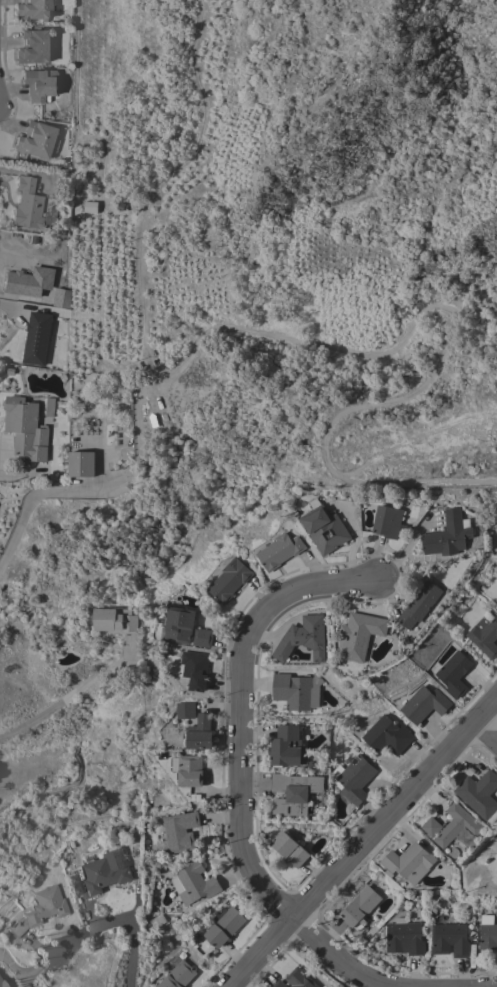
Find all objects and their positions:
building: (32, 9)
building: (34, 46)
building: (40, 84)
building: (37, 140)
road: (159, 184)
building: (27, 204)
crop: (290, 235)
road: (9, 303)
road: (447, 327)
building: (34, 338)
building: (48, 407)
building: (25, 428)
building: (80, 464)
road: (14, 477)
road: (84, 490)
building: (388, 522)
building: (324, 529)
building: (447, 535)
building: (279, 551)
building: (229, 581)
building: (419, 605)
building: (116, 620)
building: (179, 625)
building: (484, 635)
building: (359, 636)
building: (202, 638)
building: (302, 638)
building: (193, 670)
building: (453, 673)
building: (296, 691)
road: (68, 698)
building: (423, 704)
road: (239, 709)
building: (186, 710)
road: (485, 731)
building: (199, 733)
building: (386, 736)
building: (287, 748)
building: (189, 771)
building: (354, 779)
building: (293, 793)
building: (479, 794)
building: (430, 827)
building: (457, 829)
building: (180, 832)
road: (365, 840)
building: (288, 849)
building: (410, 861)
building: (105, 874)
building: (193, 884)
building: (359, 908)
building: (39, 909)
road: (121, 921)
building: (224, 927)
building: (488, 937)
building: (403, 938)
building: (449, 940)
road: (337, 957)
building: (177, 976)
building: (298, 979)
building: (2, 982)
building: (278, 984)

